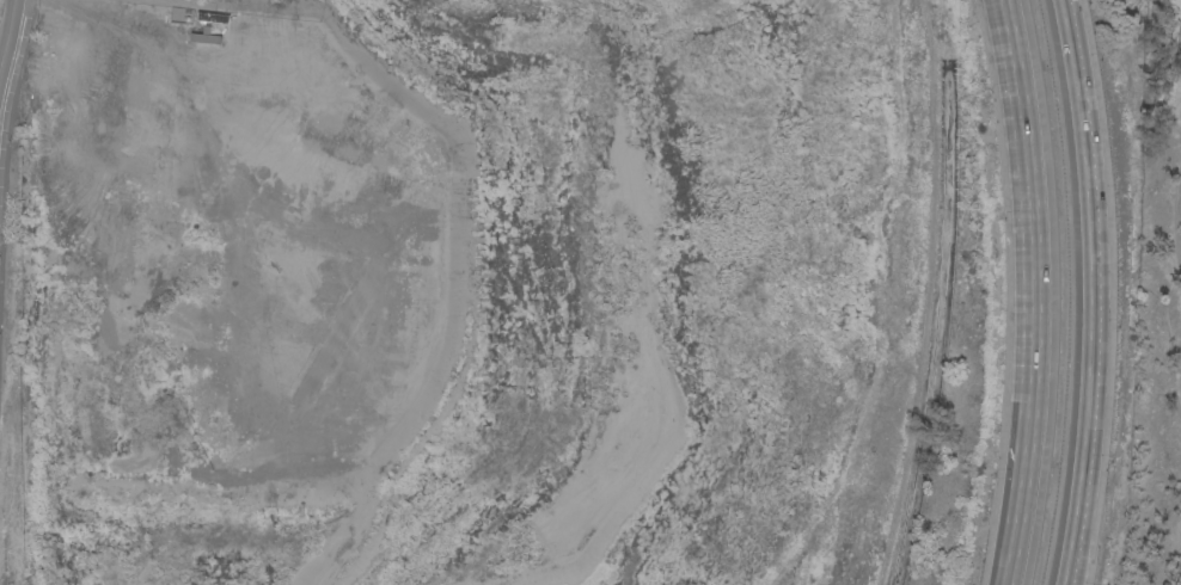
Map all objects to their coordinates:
building: (204, 37)
road: (11, 47)
road: (1030, 248)
road: (1093, 291)
road: (1011, 538)
road: (1004, 581)

